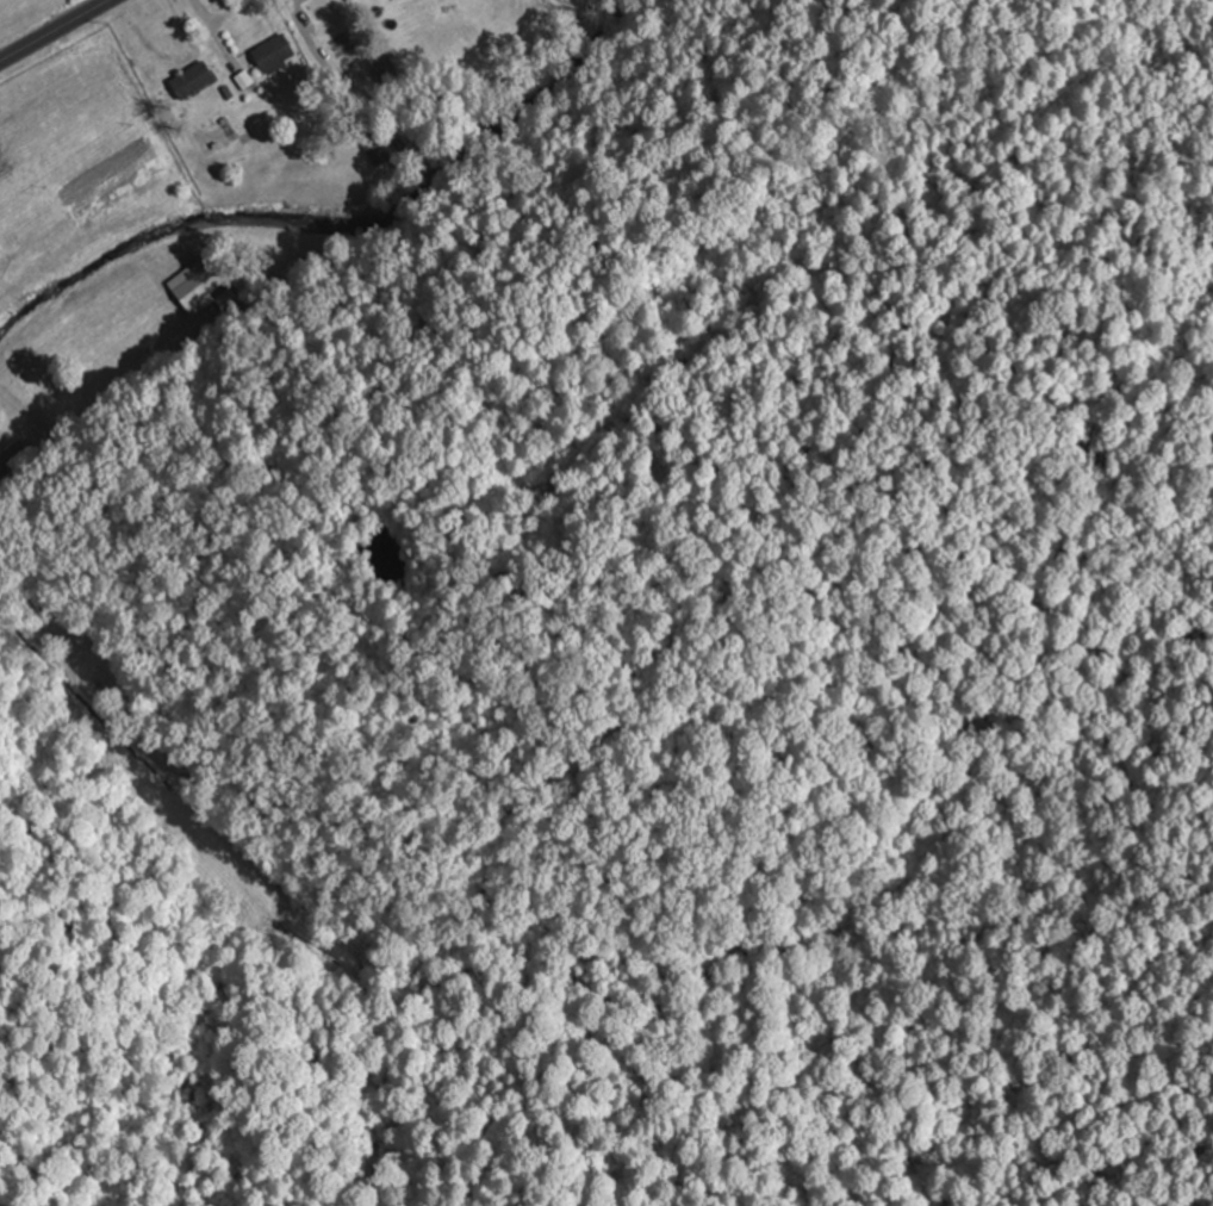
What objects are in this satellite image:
road: (54, 30)
building: (276, 51)
building: (385, 68)
building: (379, 148)
building: (206, 291)
building: (12, 452)

